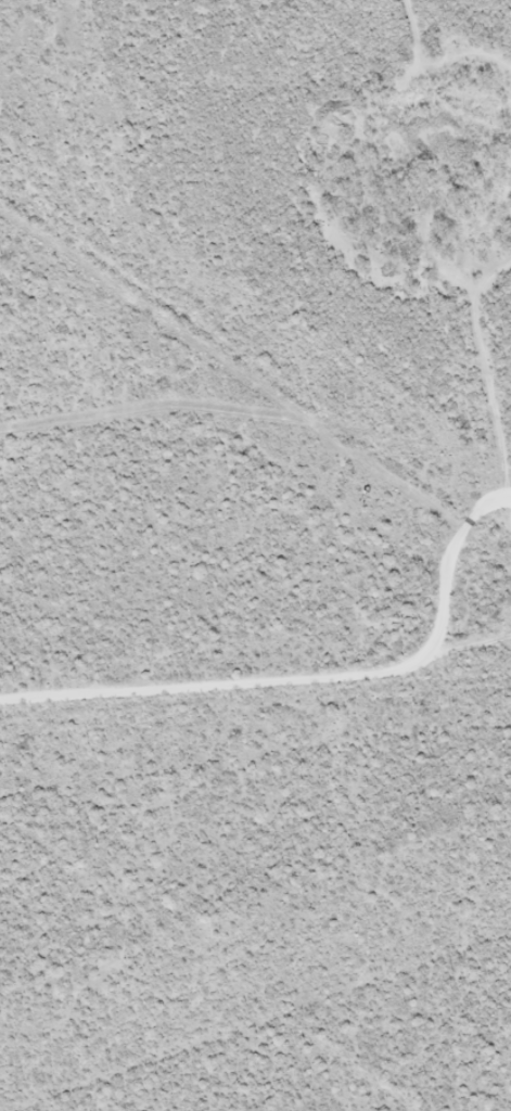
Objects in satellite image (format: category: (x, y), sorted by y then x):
road: (251, 787)

